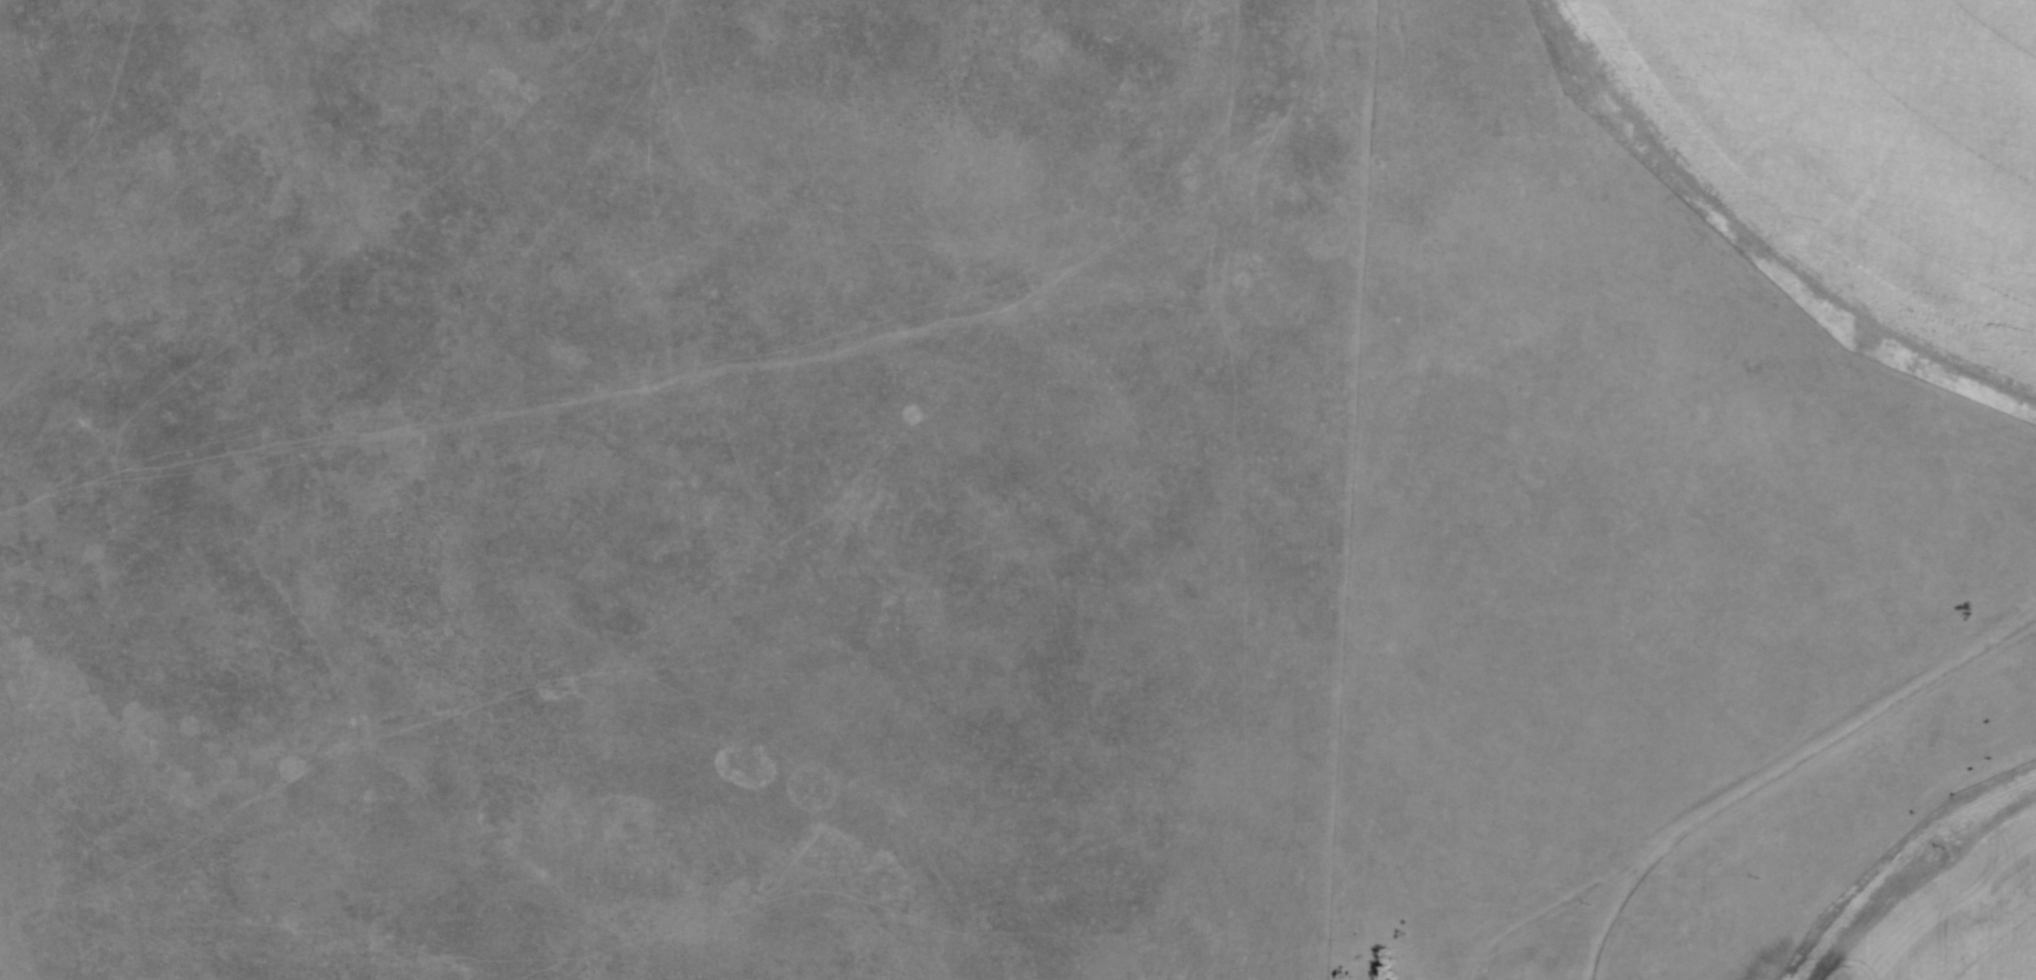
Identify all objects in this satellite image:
crop: (1860, 143)
crop: (1949, 911)

